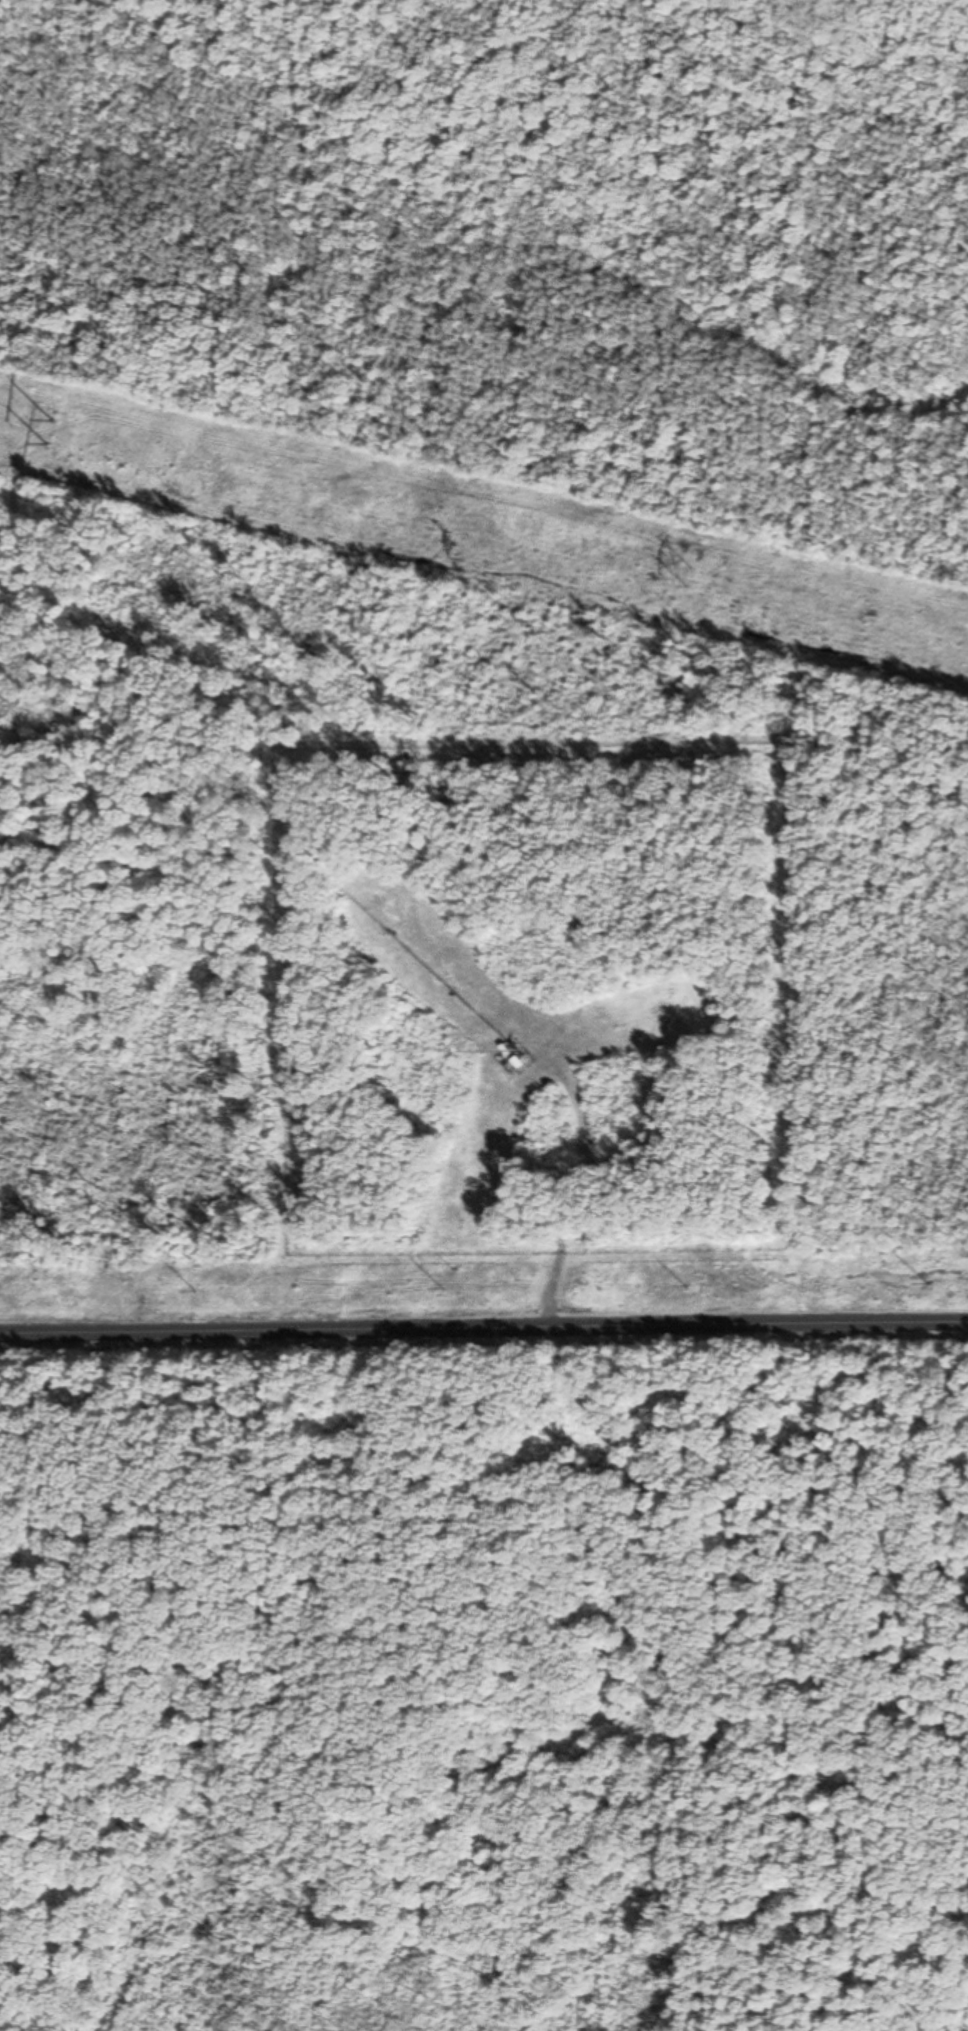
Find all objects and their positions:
power tower: (51, 431)
power tower: (692, 578)
road: (484, 1330)

